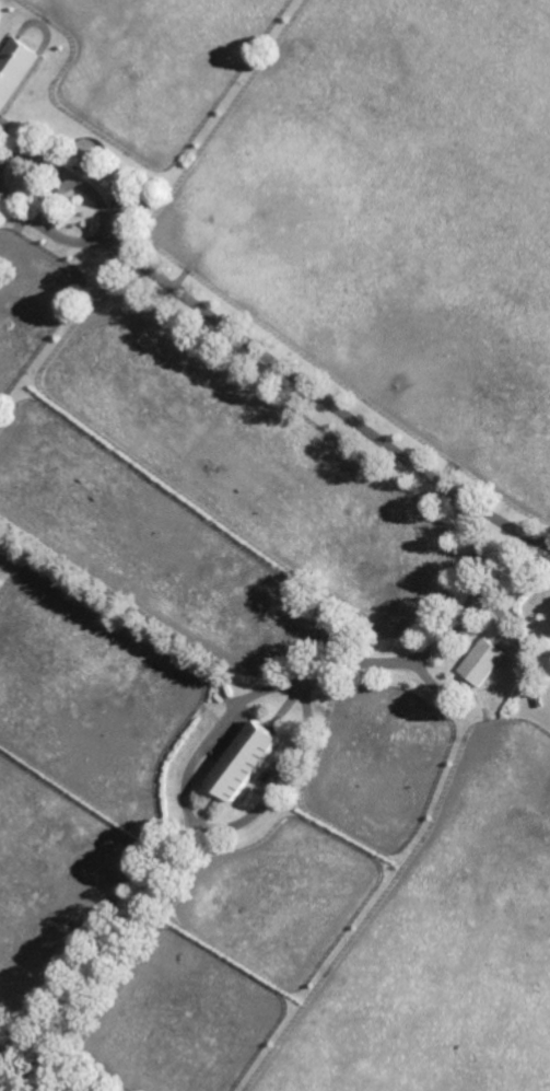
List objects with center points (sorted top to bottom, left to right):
building: (14, 67)
road: (70, 175)
road: (54, 198)
road: (273, 360)
building: (481, 660)
building: (538, 701)
road: (203, 750)
building: (245, 762)
road: (281, 779)
road: (34, 1071)
road: (77, 1071)

